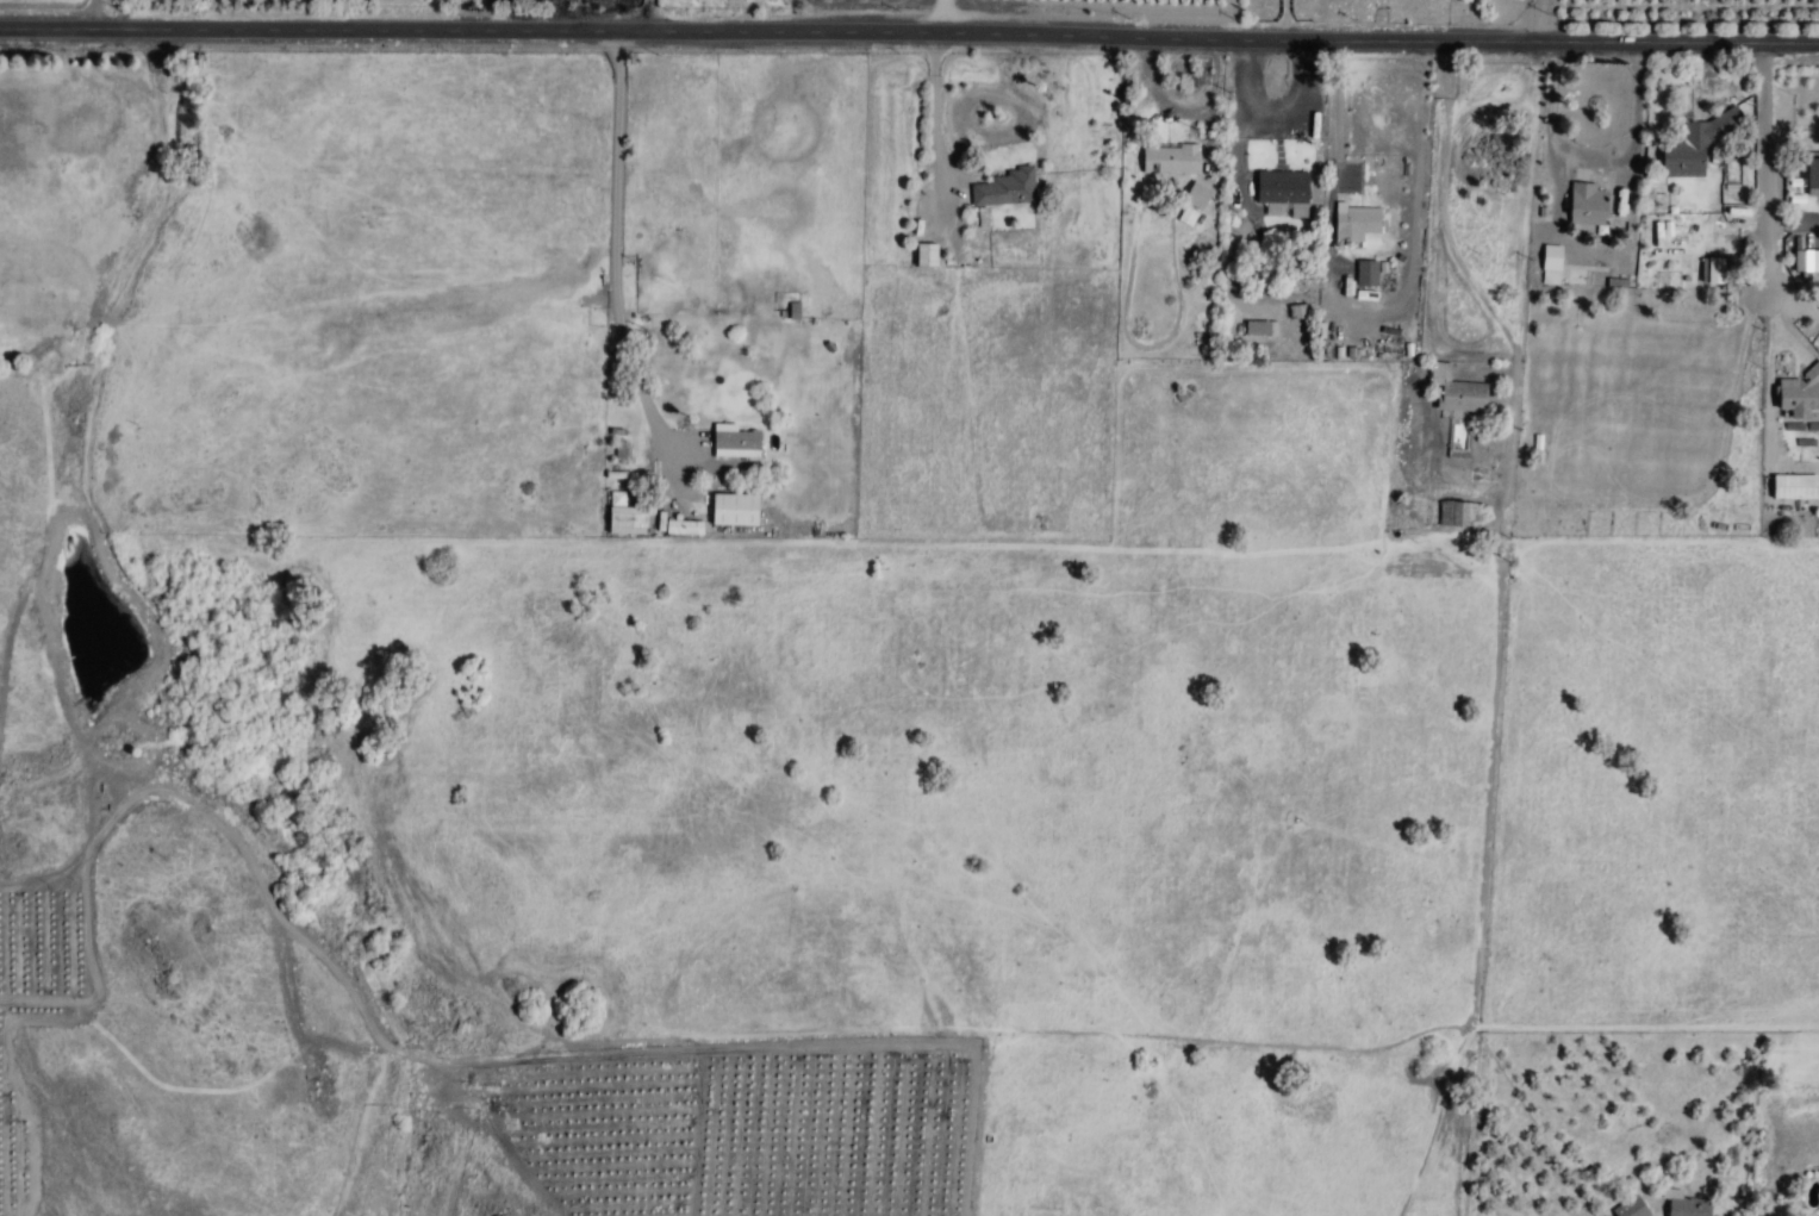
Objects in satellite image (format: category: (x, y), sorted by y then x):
crop: (354, 4)
road: (648, 17)
road: (92, 18)
road: (996, 24)
road: (1538, 25)
crop: (1686, 25)
road: (909, 45)
road: (1552, 117)
road: (936, 124)
building: (1695, 143)
building: (1170, 160)
road: (1763, 172)
building: (1812, 175)
building: (1282, 188)
building: (1005, 189)
building: (1588, 205)
crop: (5, 212)
building: (1356, 224)
building: (926, 256)
building: (1802, 261)
building: (1551, 264)
building: (1712, 270)
building: (1365, 274)
road: (615, 291)
building: (1456, 392)
building: (1798, 395)
building: (734, 442)
building: (1795, 487)
building: (734, 510)
building: (1462, 519)
crop: (33, 1009)
crop: (733, 1133)
building: (1631, 1208)

